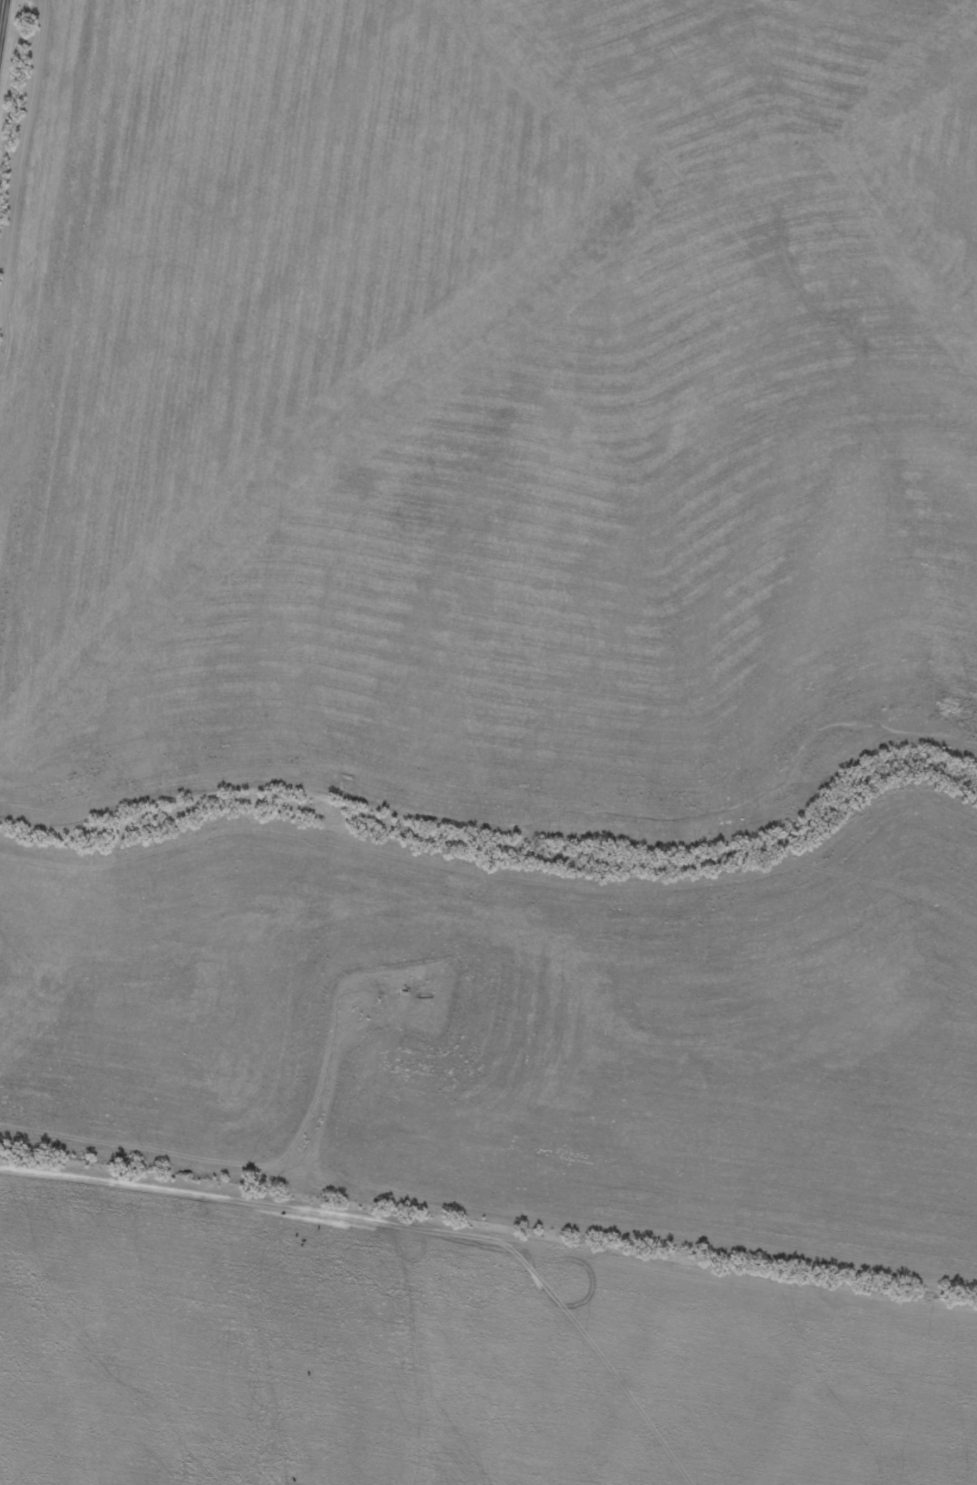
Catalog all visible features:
road: (2, 13)

